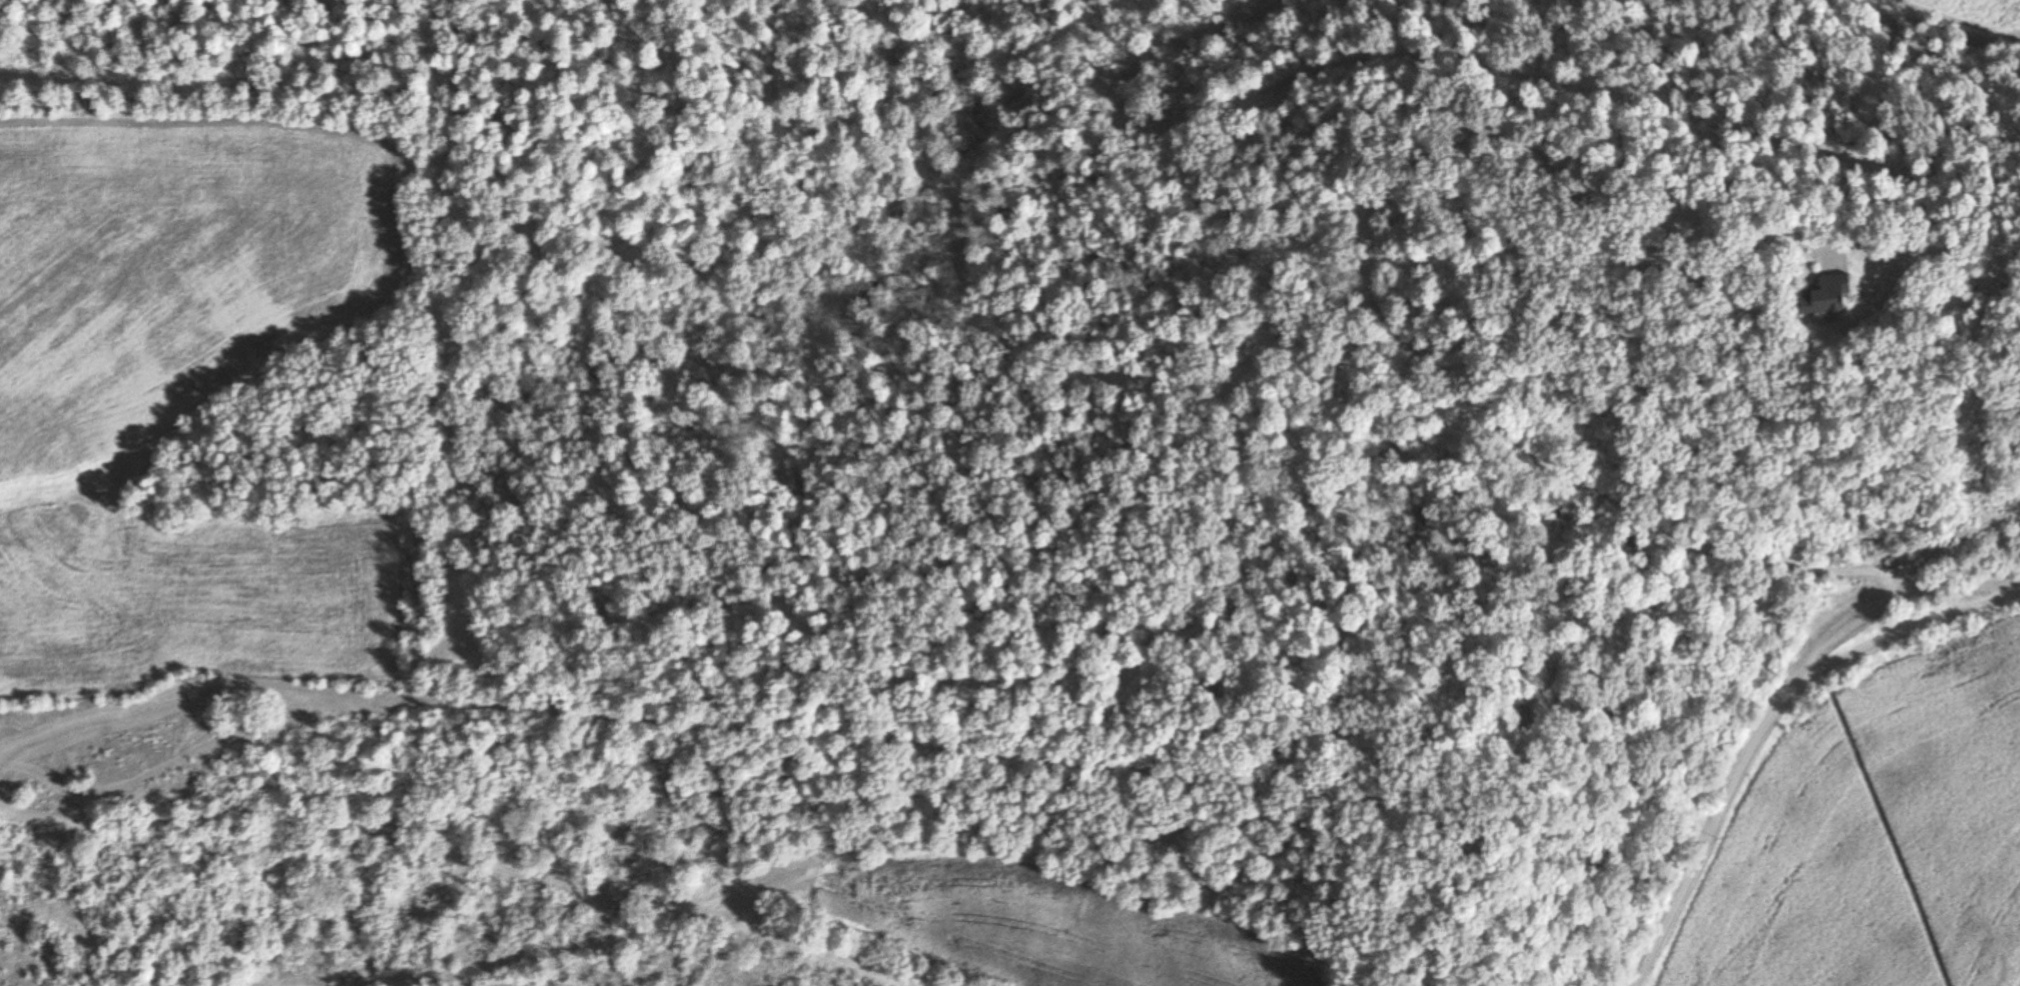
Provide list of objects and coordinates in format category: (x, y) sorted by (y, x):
building: (1837, 295)
road: (1417, 350)
road: (1851, 656)
road: (1709, 824)

